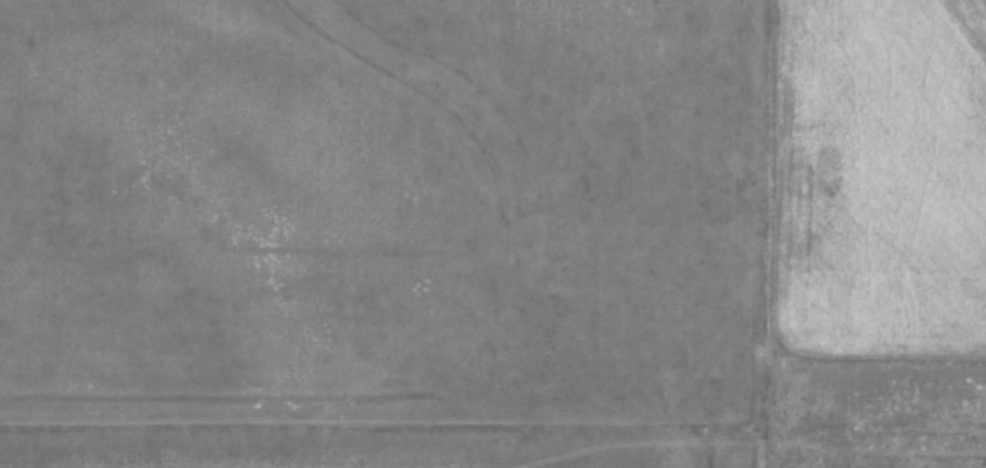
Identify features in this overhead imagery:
crop: (884, 180)

